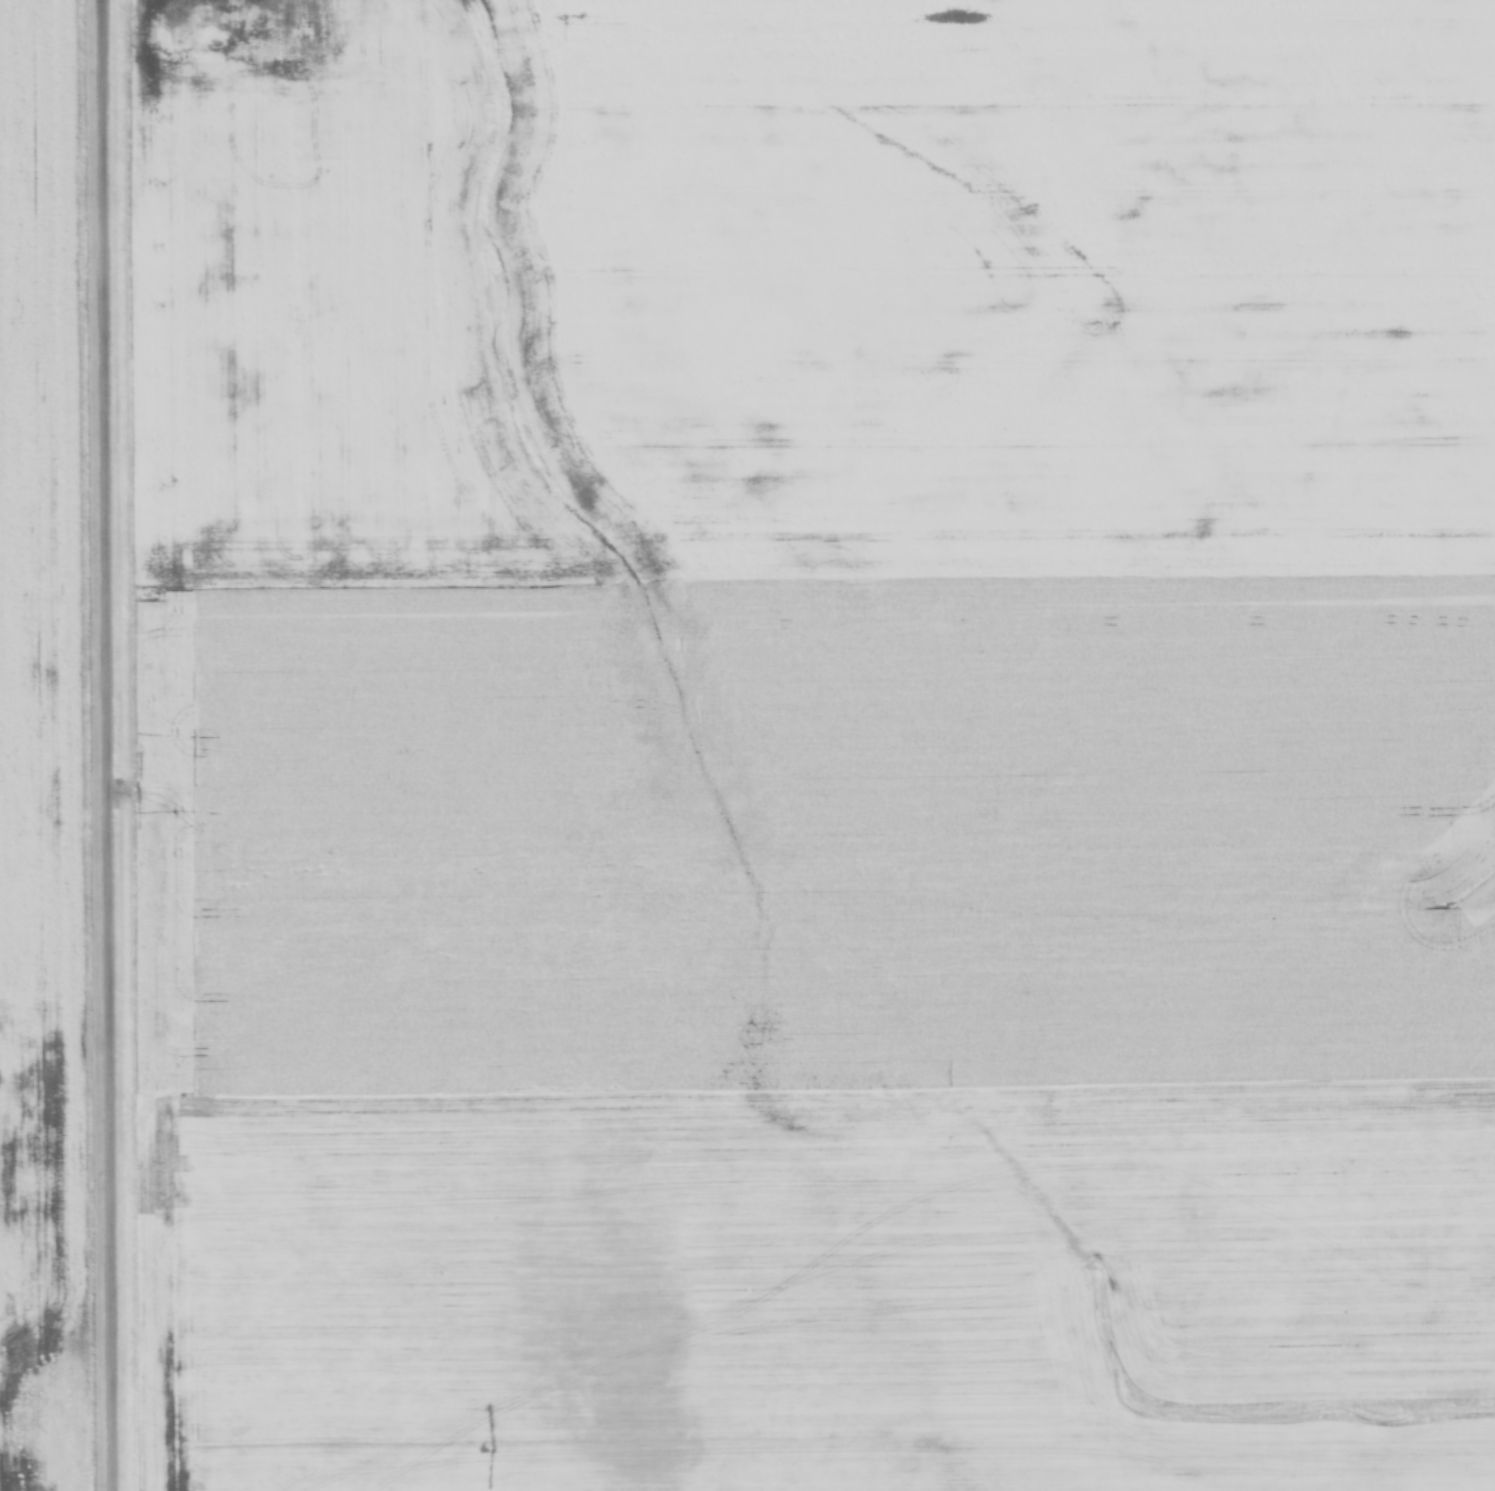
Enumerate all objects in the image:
road: (104, 745)

